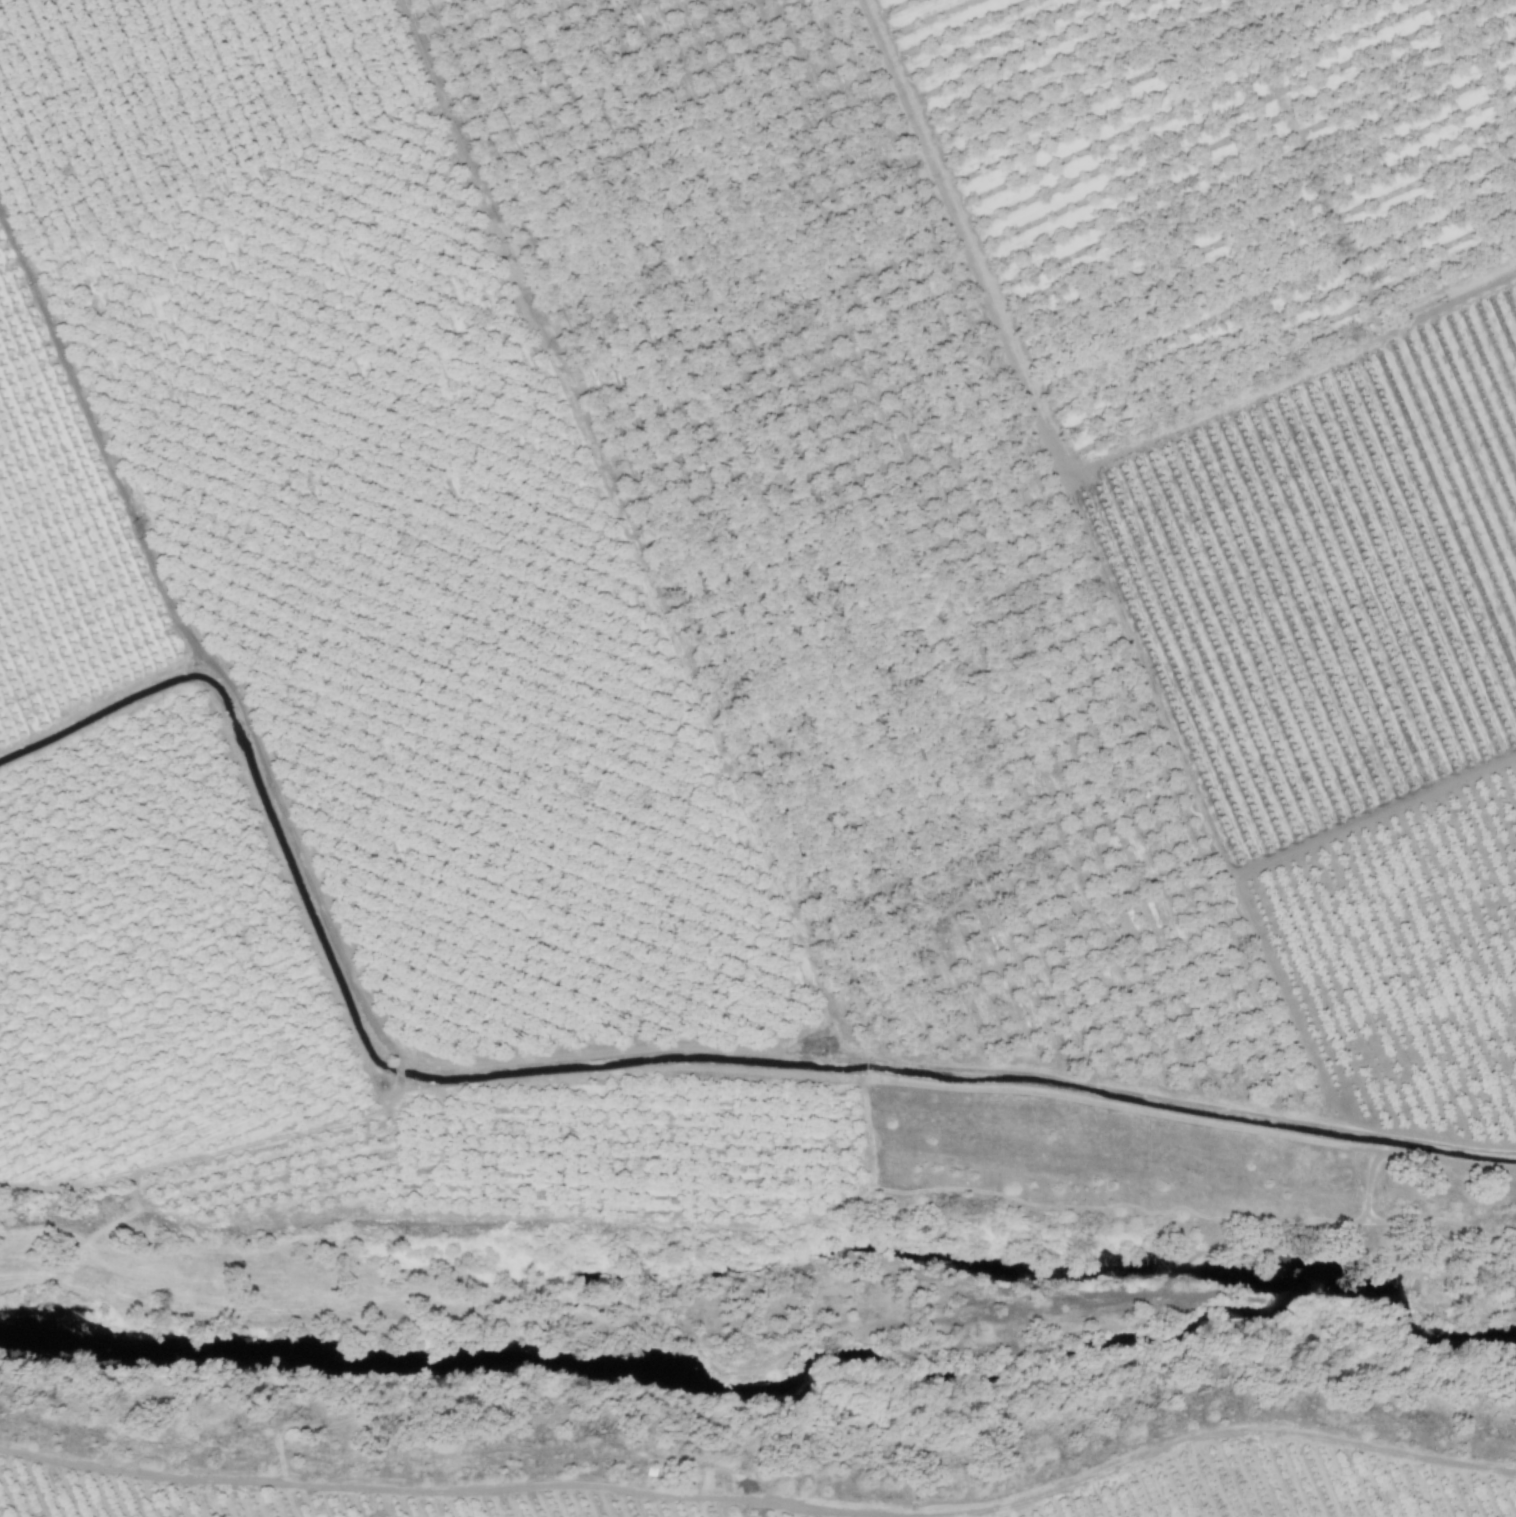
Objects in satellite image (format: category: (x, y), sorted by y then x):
road: (201, 649)
river: (760, 1345)
road: (764, 1477)

